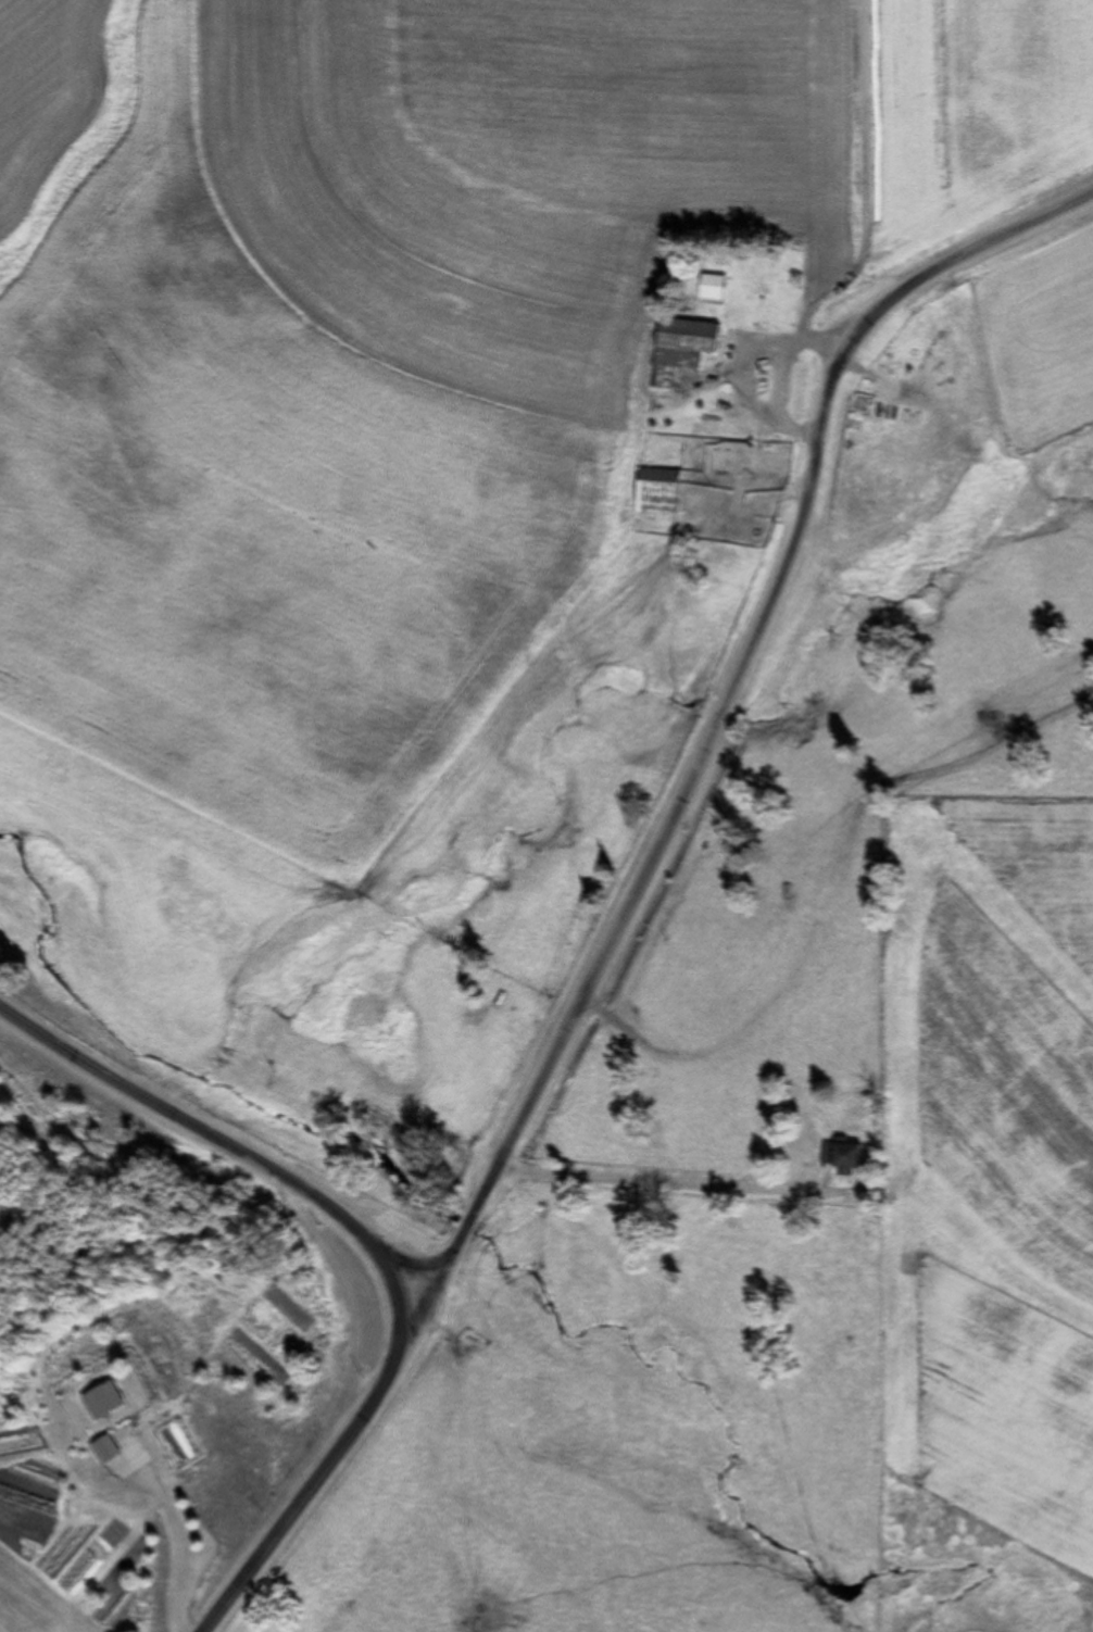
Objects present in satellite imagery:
building: (709, 287)
building: (677, 347)
building: (653, 491)
road: (705, 680)
building: (841, 1160)
road: (377, 1259)
building: (109, 1402)
building: (109, 1451)

